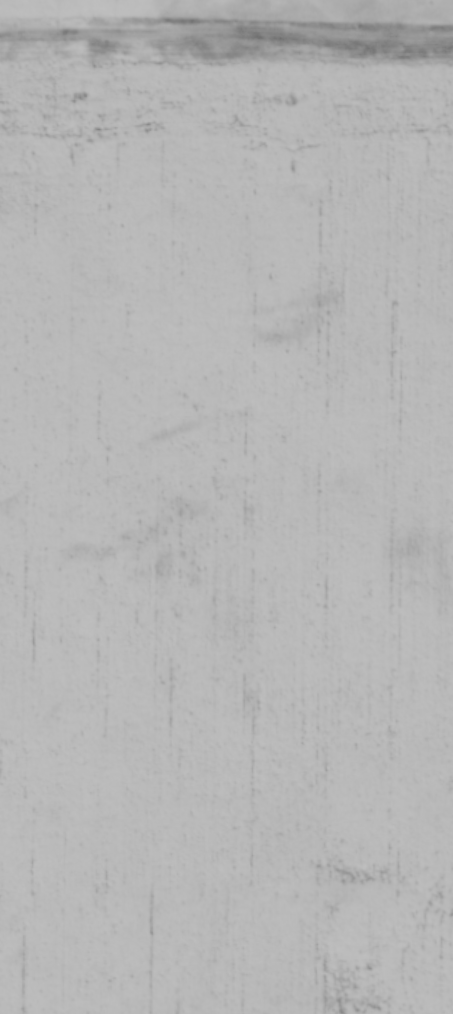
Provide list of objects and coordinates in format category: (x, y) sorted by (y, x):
road: (227, 27)

